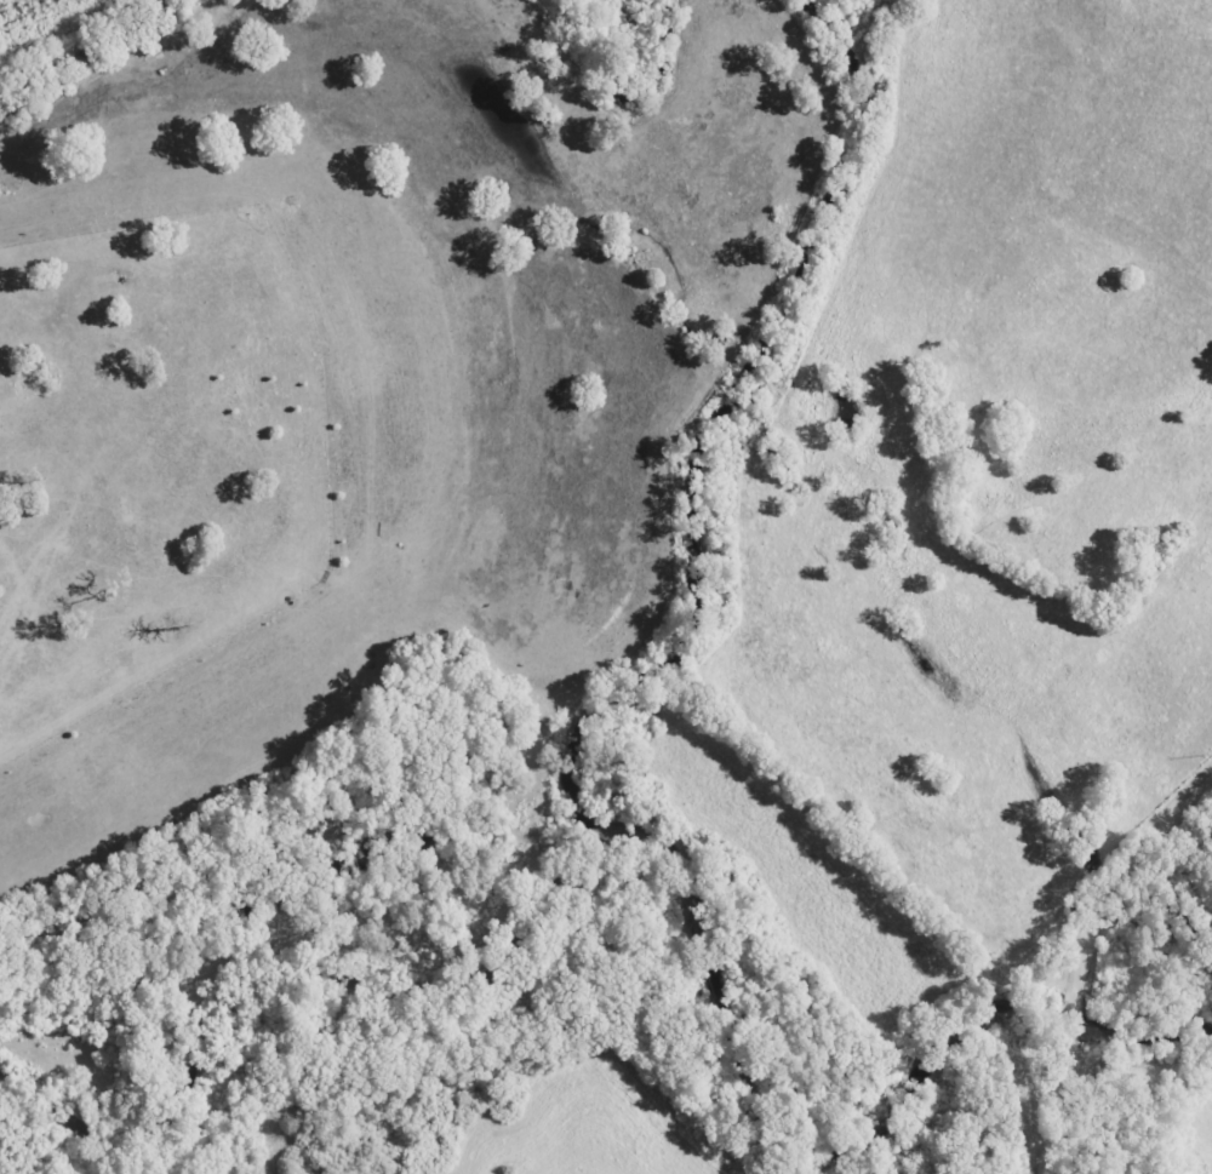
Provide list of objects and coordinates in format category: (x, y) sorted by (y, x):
road: (1082, 957)

